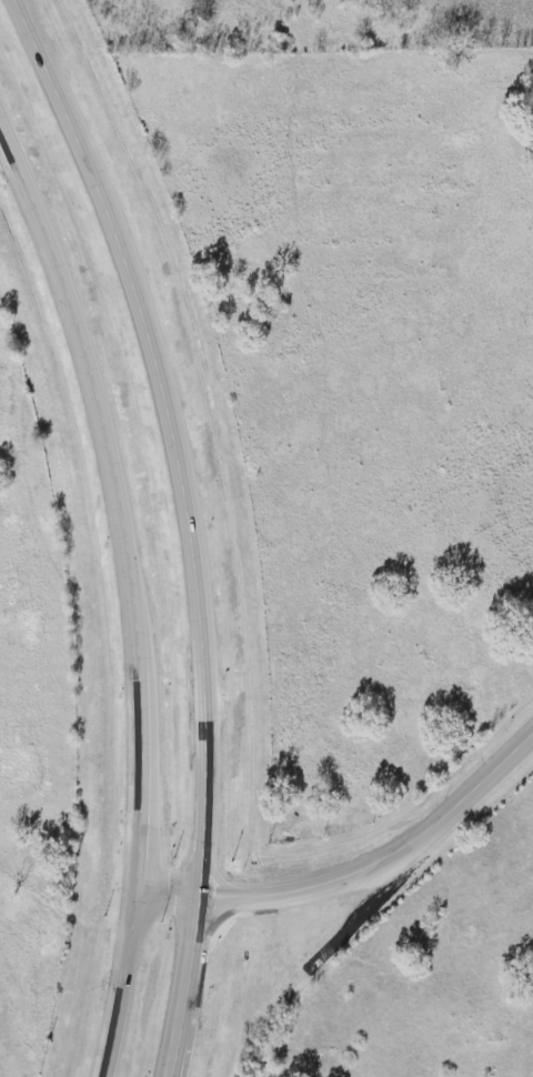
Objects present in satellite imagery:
road: (191, 525)
road: (133, 582)
road: (382, 859)
road: (169, 896)

